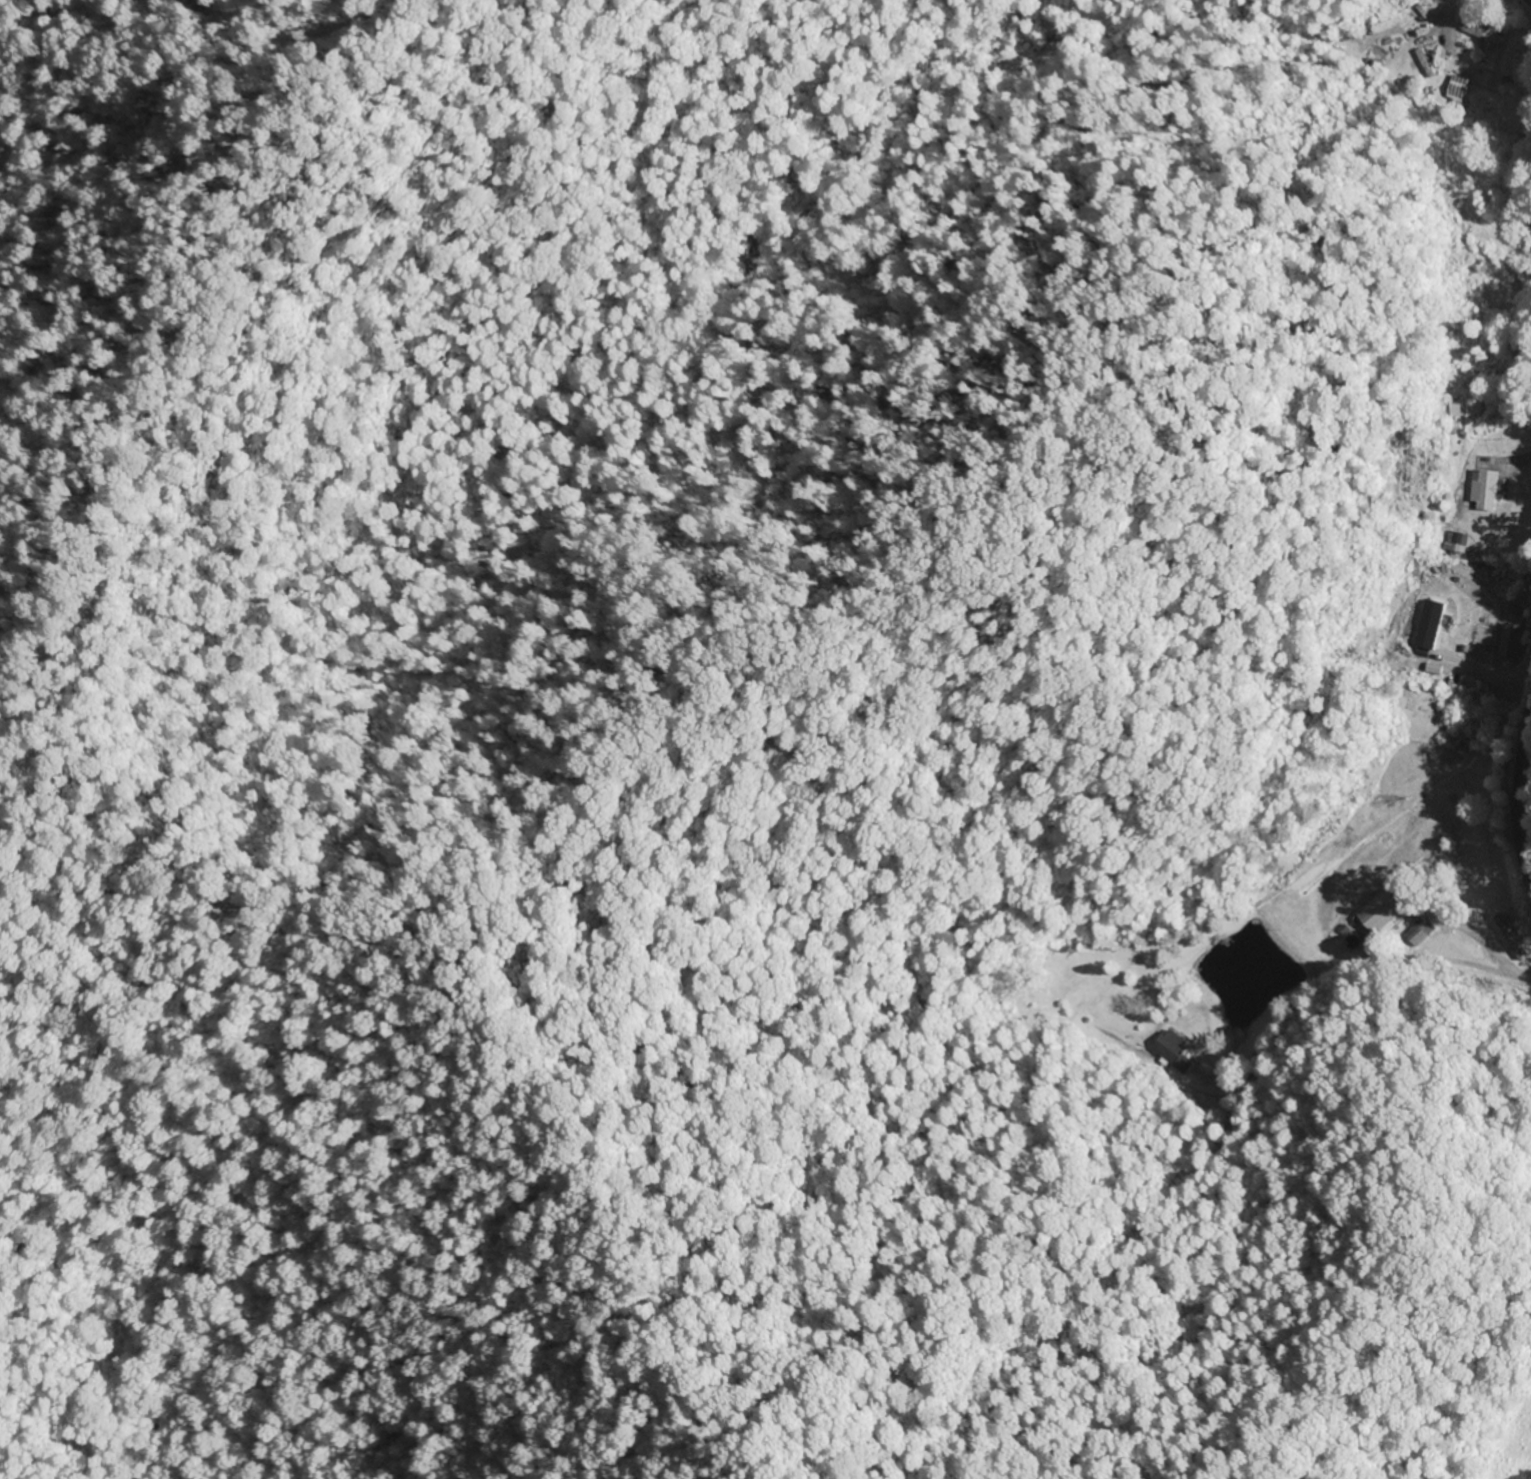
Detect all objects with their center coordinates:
road: (1460, 18)
building: (1483, 35)
building: (1480, 491)
building: (1425, 626)
building: (1508, 642)
road: (1525, 793)
building: (1382, 912)
building: (1417, 933)
building: (1173, 1051)
road: (1449, 1139)

